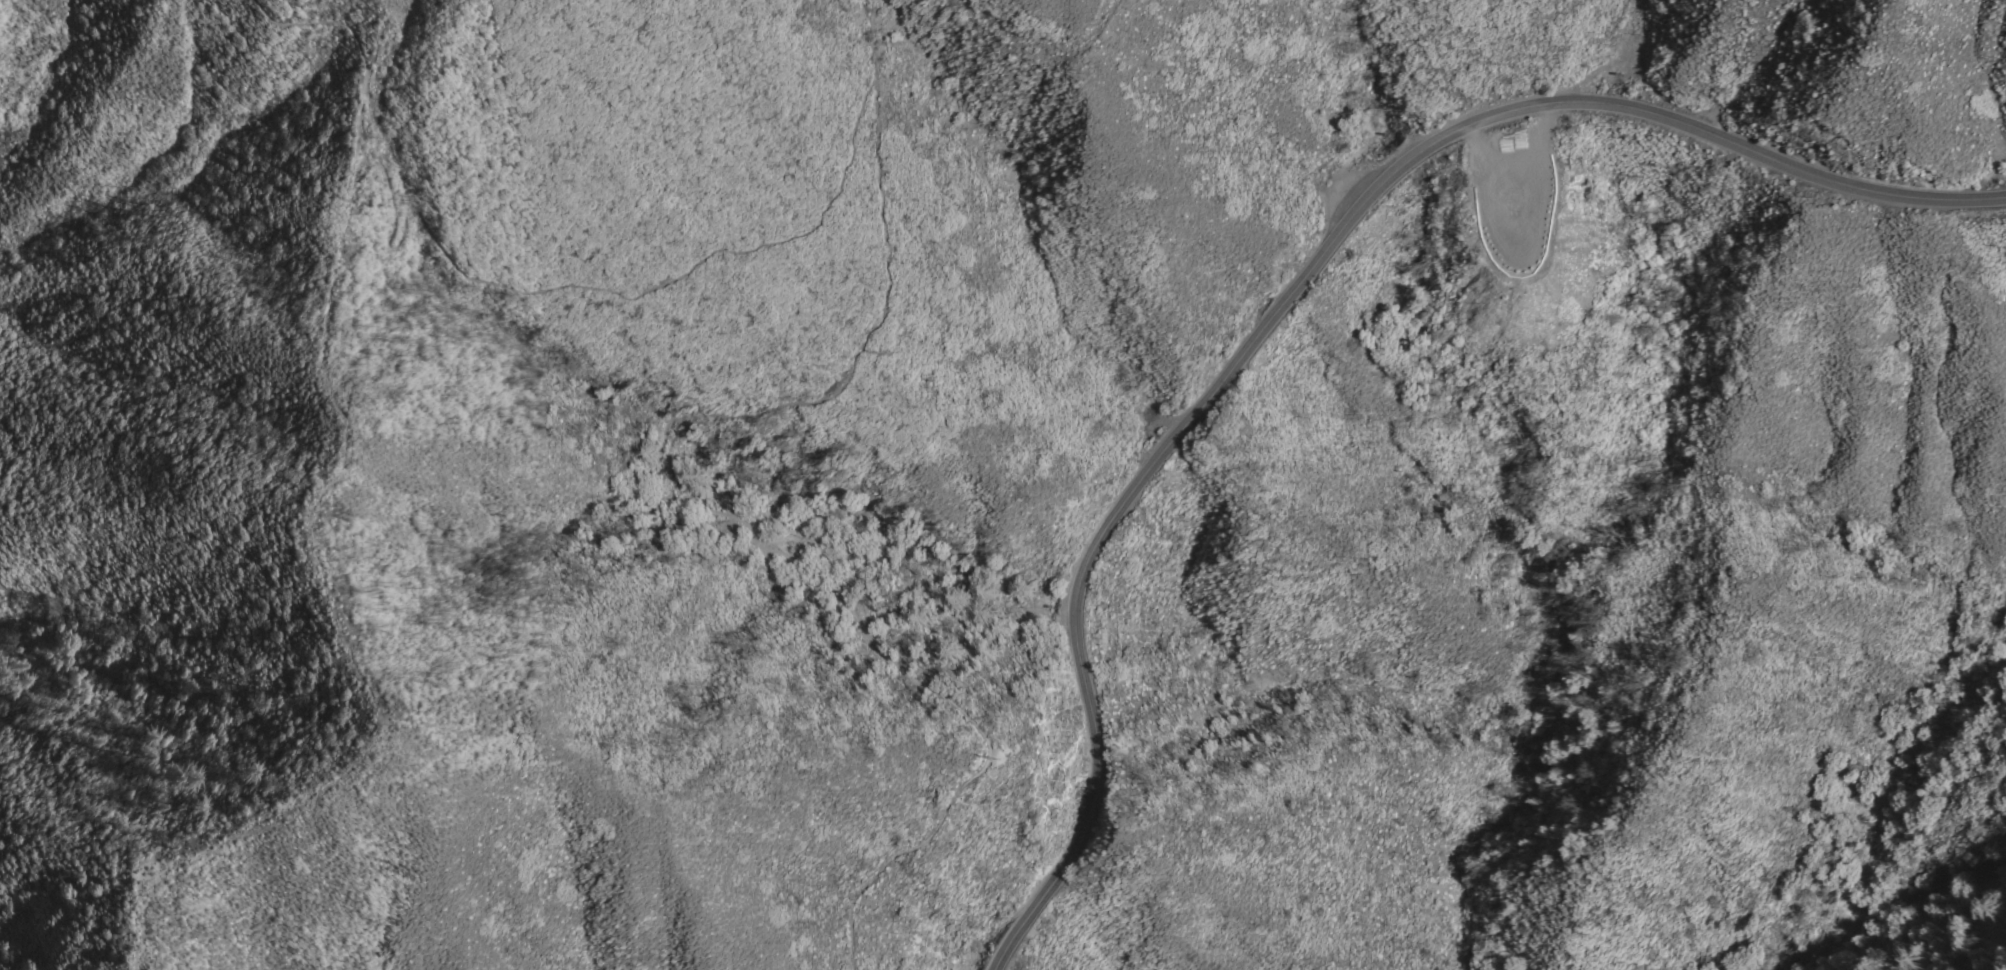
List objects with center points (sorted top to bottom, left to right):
road: (873, 41)
road: (1033, 46)
road: (1301, 279)
road: (494, 280)
road: (735, 513)

